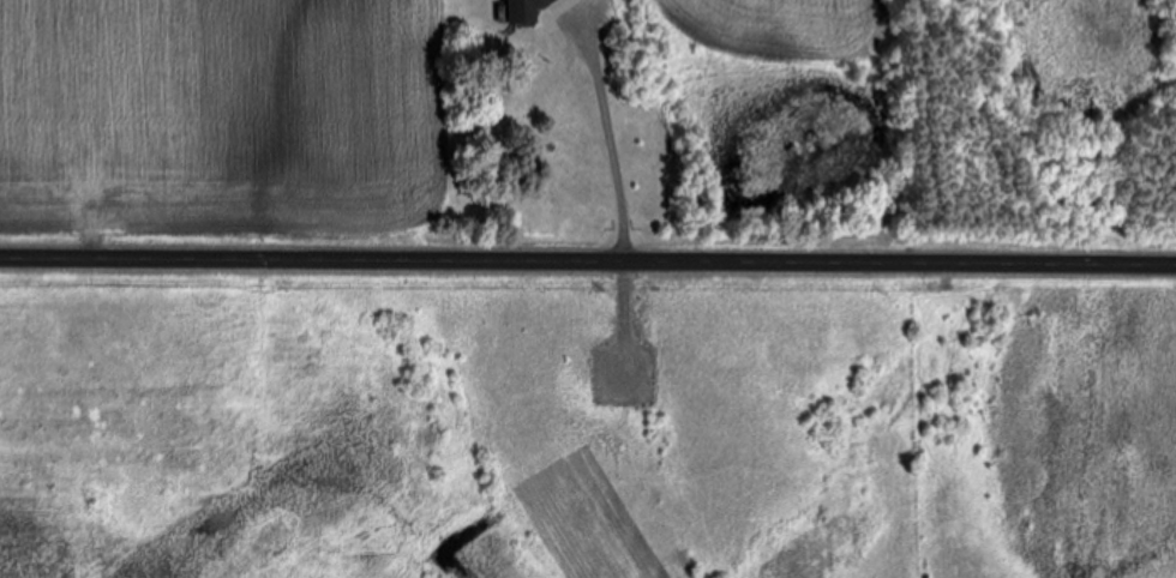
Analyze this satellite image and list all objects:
building: (523, 11)
road: (588, 261)

